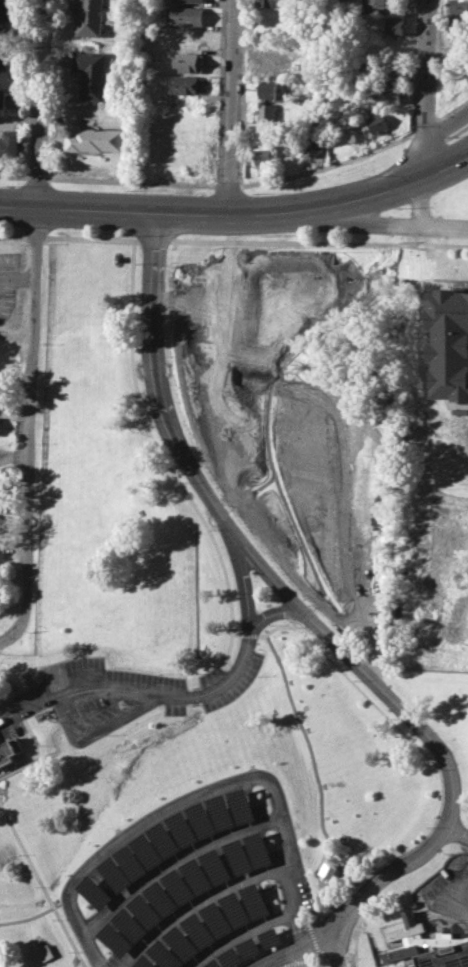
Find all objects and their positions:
building: (192, 0)
building: (277, 3)
building: (376, 3)
building: (459, 6)
building: (7, 10)
building: (187, 15)
building: (90, 18)
building: (395, 25)
building: (459, 26)
building: (190, 62)
building: (270, 65)
road: (427, 67)
building: (392, 70)
building: (92, 74)
building: (4, 78)
building: (188, 85)
building: (270, 90)
building: (389, 93)
road: (232, 107)
building: (269, 114)
building: (378, 123)
road: (447, 124)
building: (357, 131)
road: (456, 133)
road: (428, 136)
building: (94, 139)
building: (259, 141)
building: (10, 144)
building: (313, 146)
building: (287, 152)
road: (431, 154)
building: (264, 156)
road: (328, 167)
street lamp: (49, 174)
road: (14, 176)
road: (38, 177)
street lamp: (239, 177)
road: (134, 182)
park: (437, 184)
street lamp: (9, 185)
road: (229, 186)
street lamp: (132, 189)
street lamp: (257, 192)
road: (315, 205)
street lamp: (398, 207)
road: (77, 210)
road: (378, 224)
street lamp: (12, 228)
street lamp: (132, 235)
street lamp: (266, 235)
road: (233, 241)
street lamp: (47, 244)
road: (18, 277)
parking lot: (8, 283)
road: (35, 321)
building: (449, 342)
road: (157, 444)
building: (3, 525)
road: (250, 546)
road: (276, 611)
road: (4, 639)
parking lot: (227, 680)
road: (197, 694)
parking lot: (106, 695)
road: (56, 746)
building: (9, 750)
road: (37, 752)
road: (434, 763)
road: (317, 772)
building: (243, 805)
building: (222, 812)
road: (152, 817)
building: (202, 819)
building: (183, 829)
road: (458, 834)
building: (165, 839)
building: (259, 848)
building: (148, 851)
building: (238, 855)
road: (173, 861)
road: (287, 861)
building: (132, 862)
road: (344, 862)
building: (217, 865)
building: (328, 870)
building: (116, 874)
building: (198, 875)
road: (385, 876)
parking lot: (191, 878)
building: (179, 886)
road: (42, 887)
building: (95, 892)
parking lot: (449, 892)
building: (162, 898)
building: (256, 900)
road: (197, 903)
building: (235, 909)
building: (146, 910)
road: (34, 915)
building: (217, 919)
building: (131, 924)
building: (405, 927)
building: (199, 930)
road: (238, 933)
road: (85, 935)
road: (315, 936)
building: (271, 937)
building: (116, 939)
building: (411, 941)
building: (182, 943)
building: (249, 947)
road: (332, 947)
building: (166, 955)
road: (277, 955)
building: (230, 957)
road: (296, 957)
building: (448, 957)
building: (146, 962)
building: (214, 963)
road: (83, 964)

